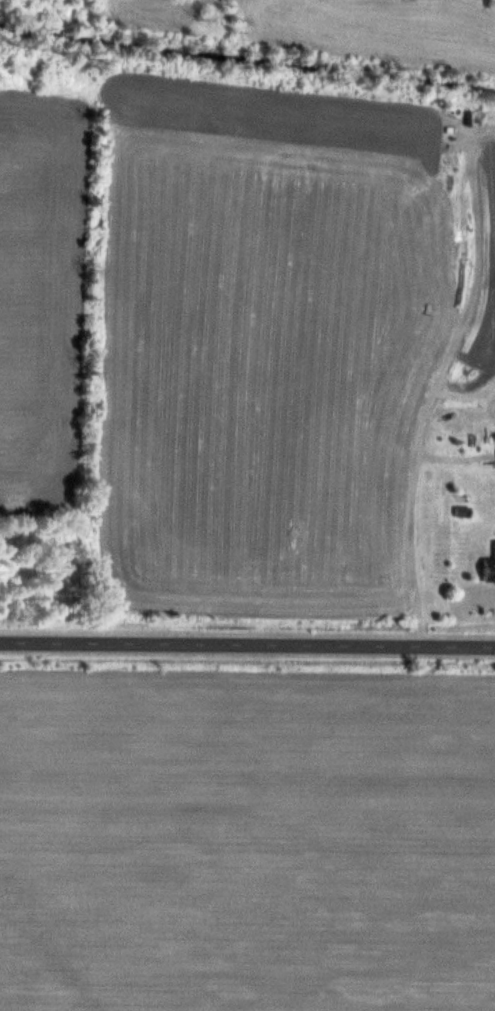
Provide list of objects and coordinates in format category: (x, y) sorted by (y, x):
building: (489, 569)
road: (247, 651)

